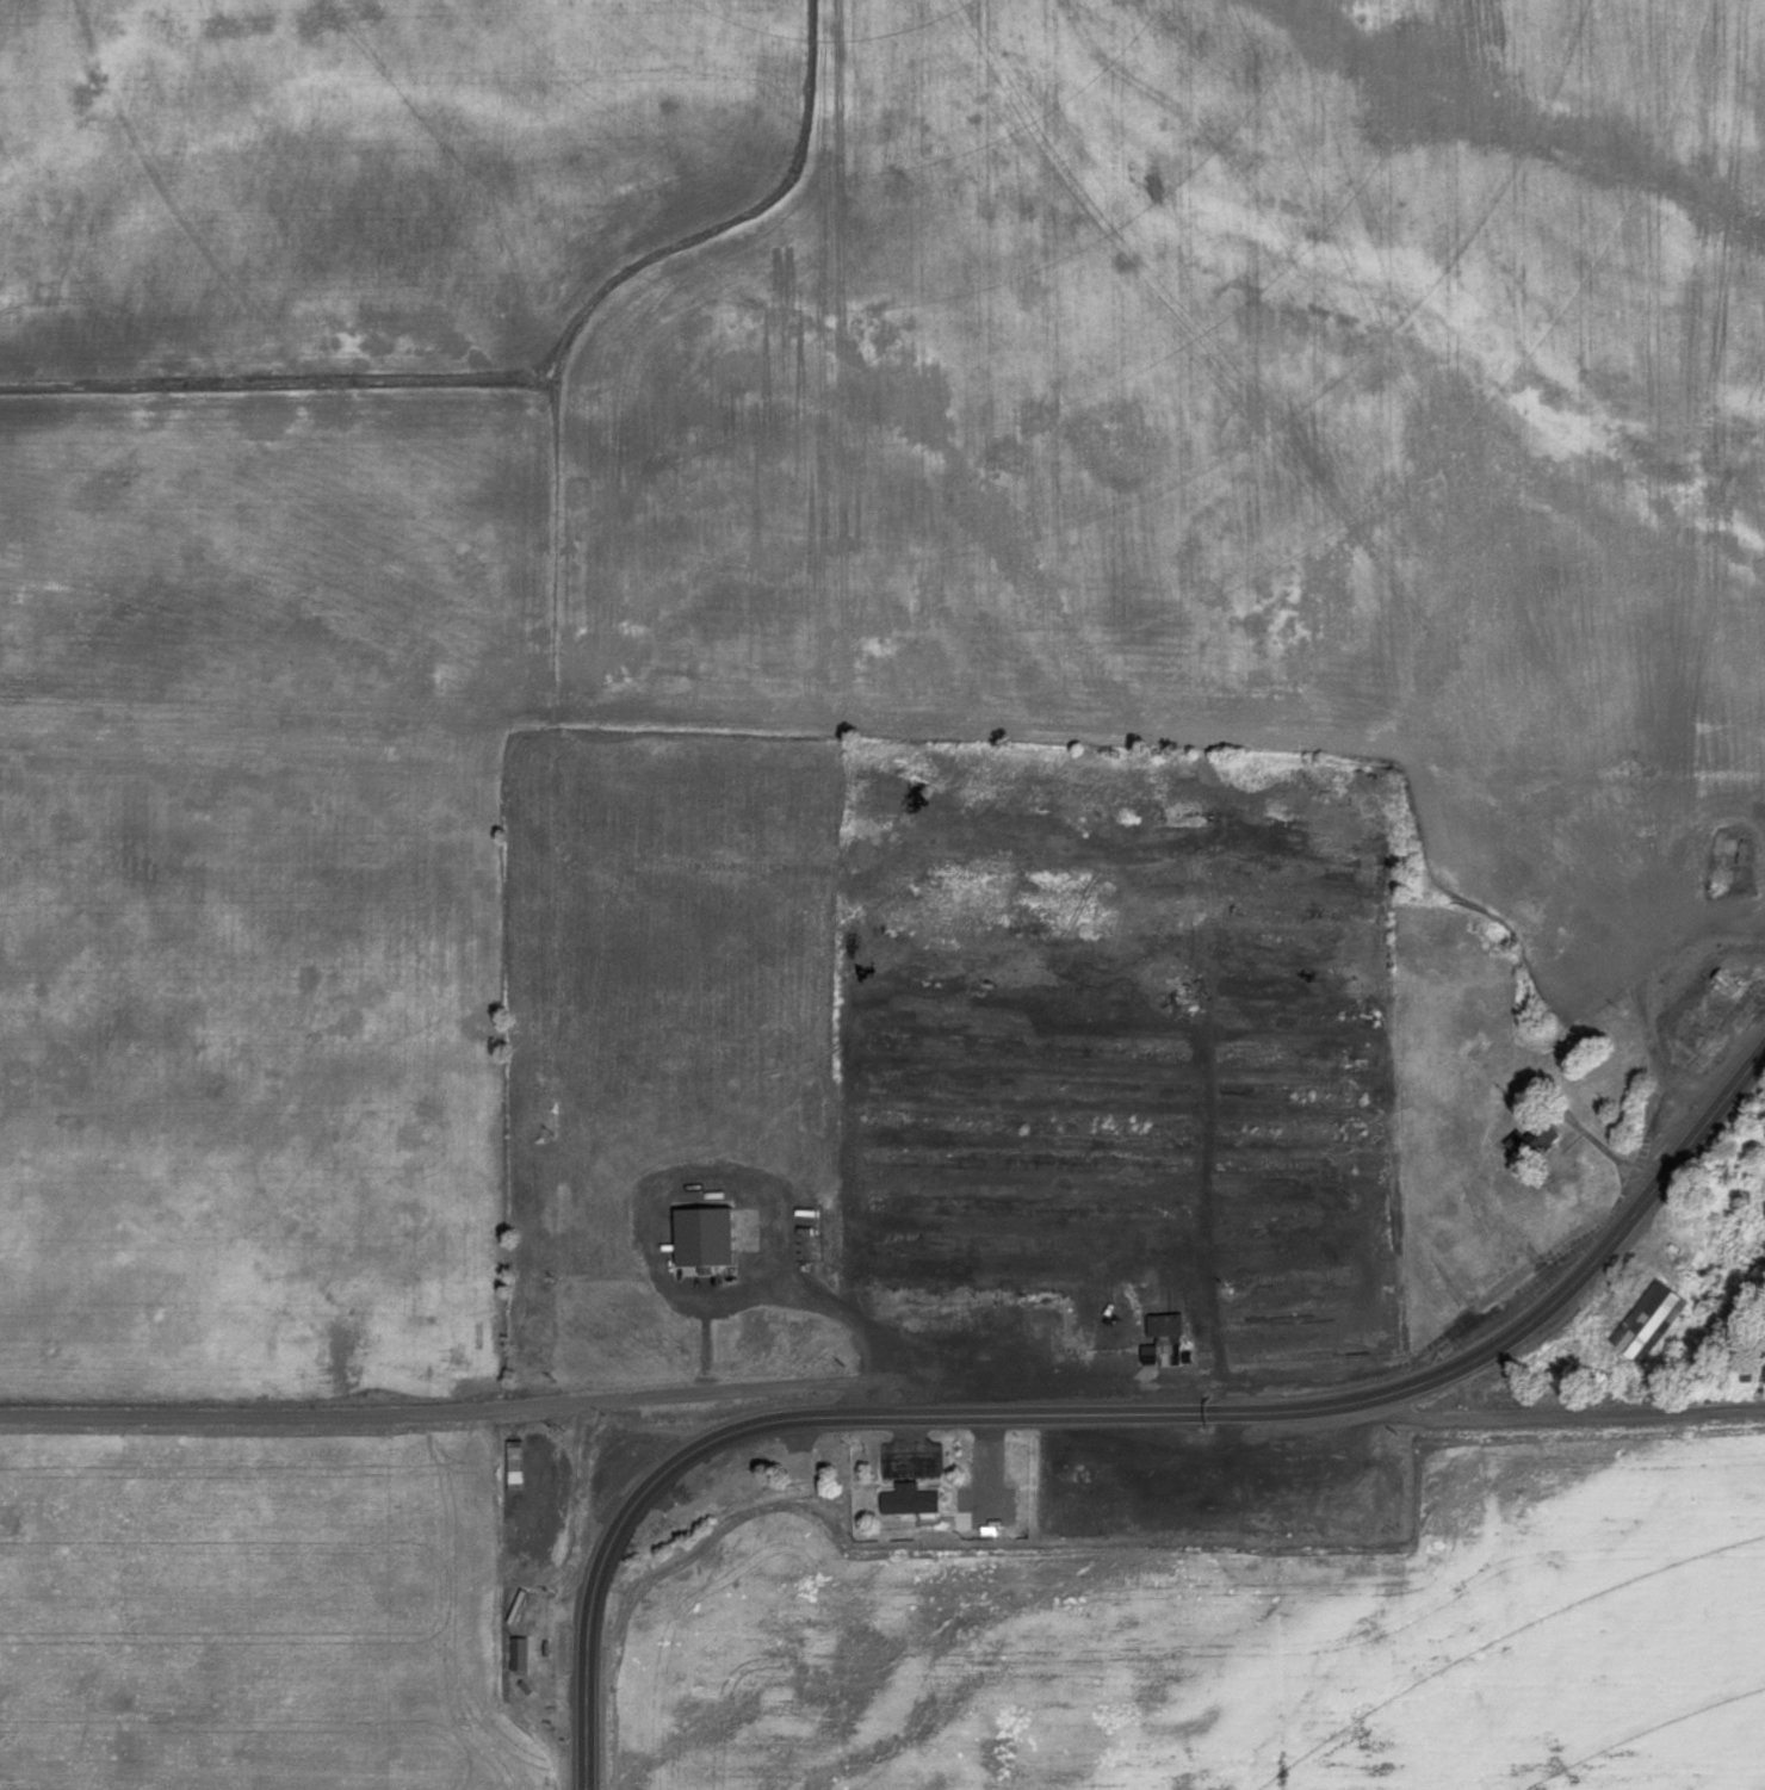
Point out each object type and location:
building: (1526, 1141)
building: (704, 1235)
building: (1645, 1320)
road: (704, 1333)
building: (1165, 1340)
road: (644, 1393)
road: (1298, 1407)
road: (1684, 1407)
road: (1469, 1411)
road: (198, 1416)
building: (912, 1498)
road: (589, 1603)
building: (521, 1653)

